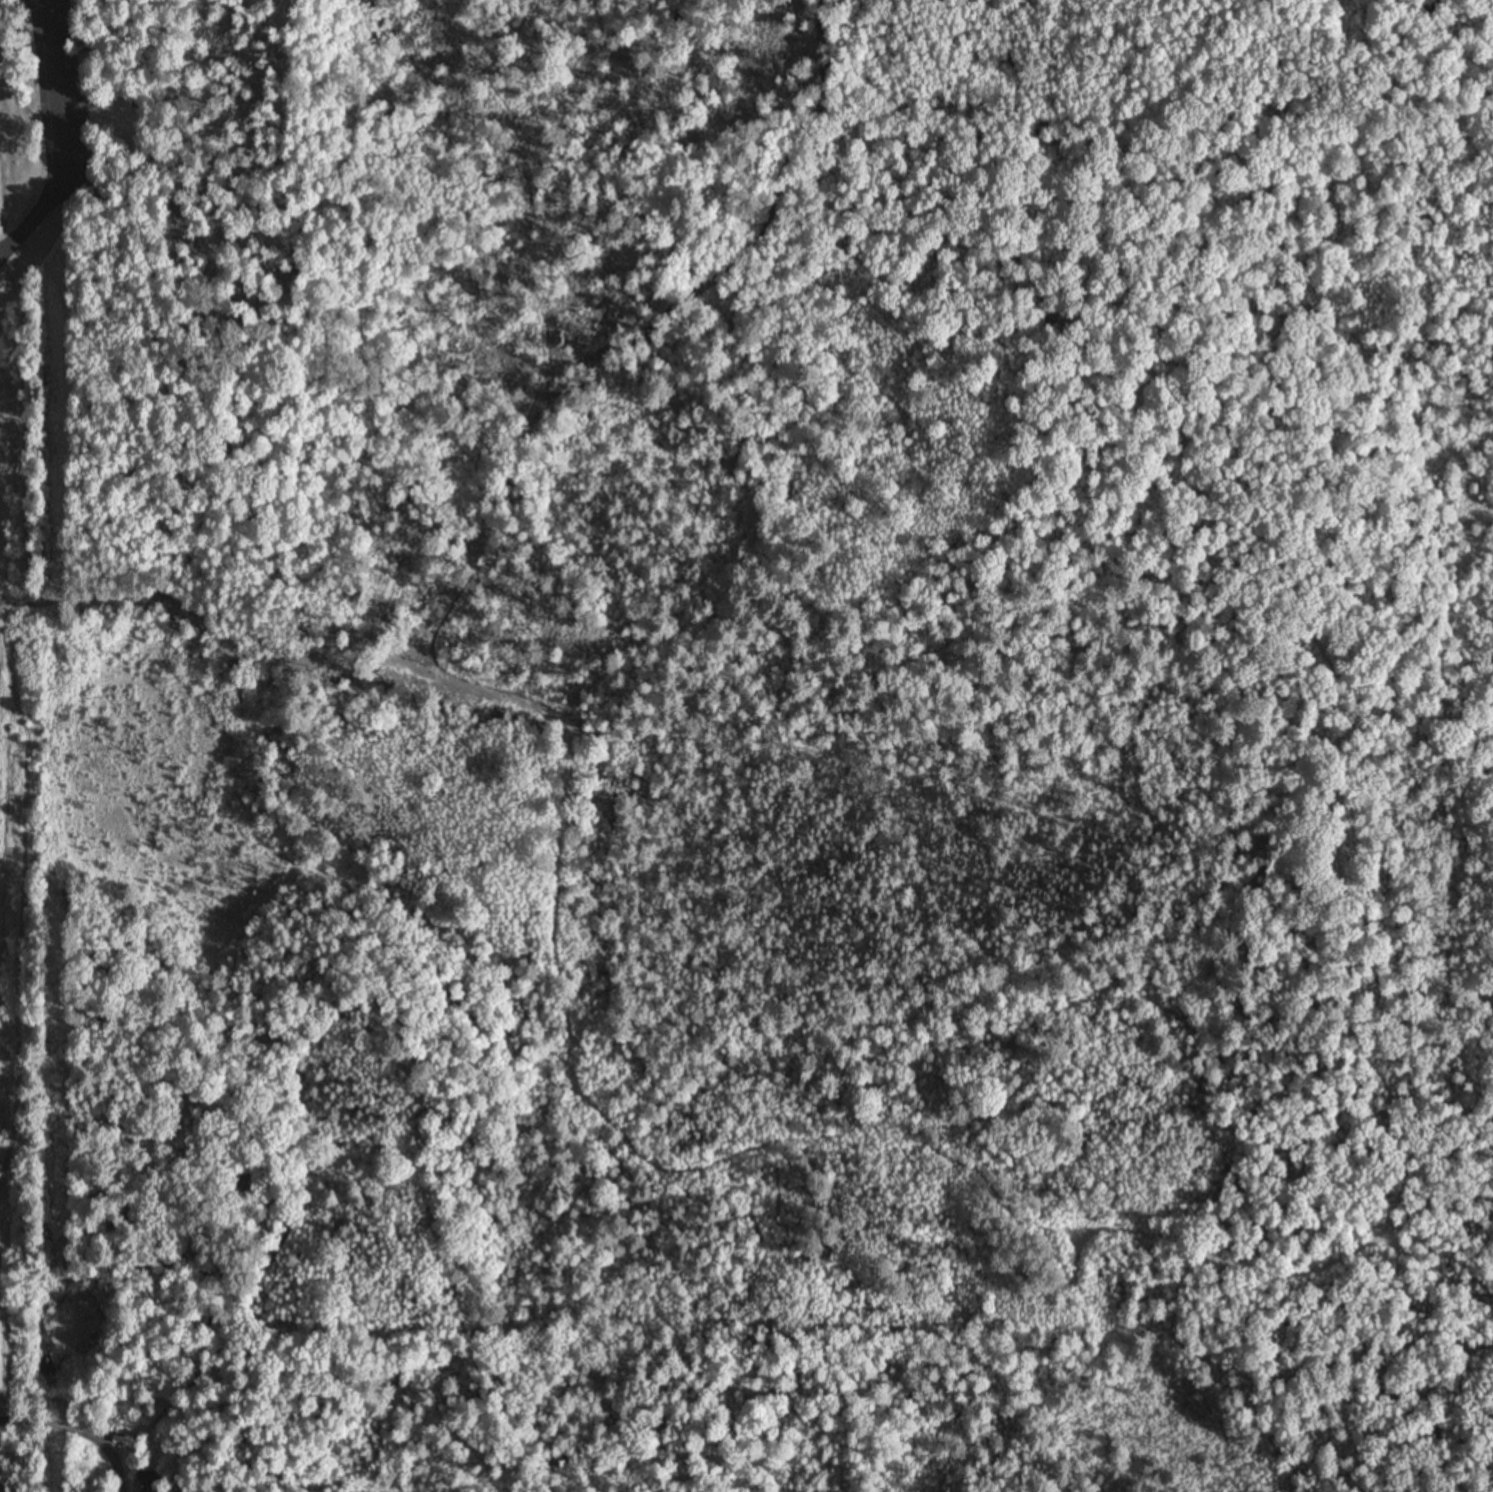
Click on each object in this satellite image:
road: (1279, 72)
road: (88, 123)
road: (618, 875)

